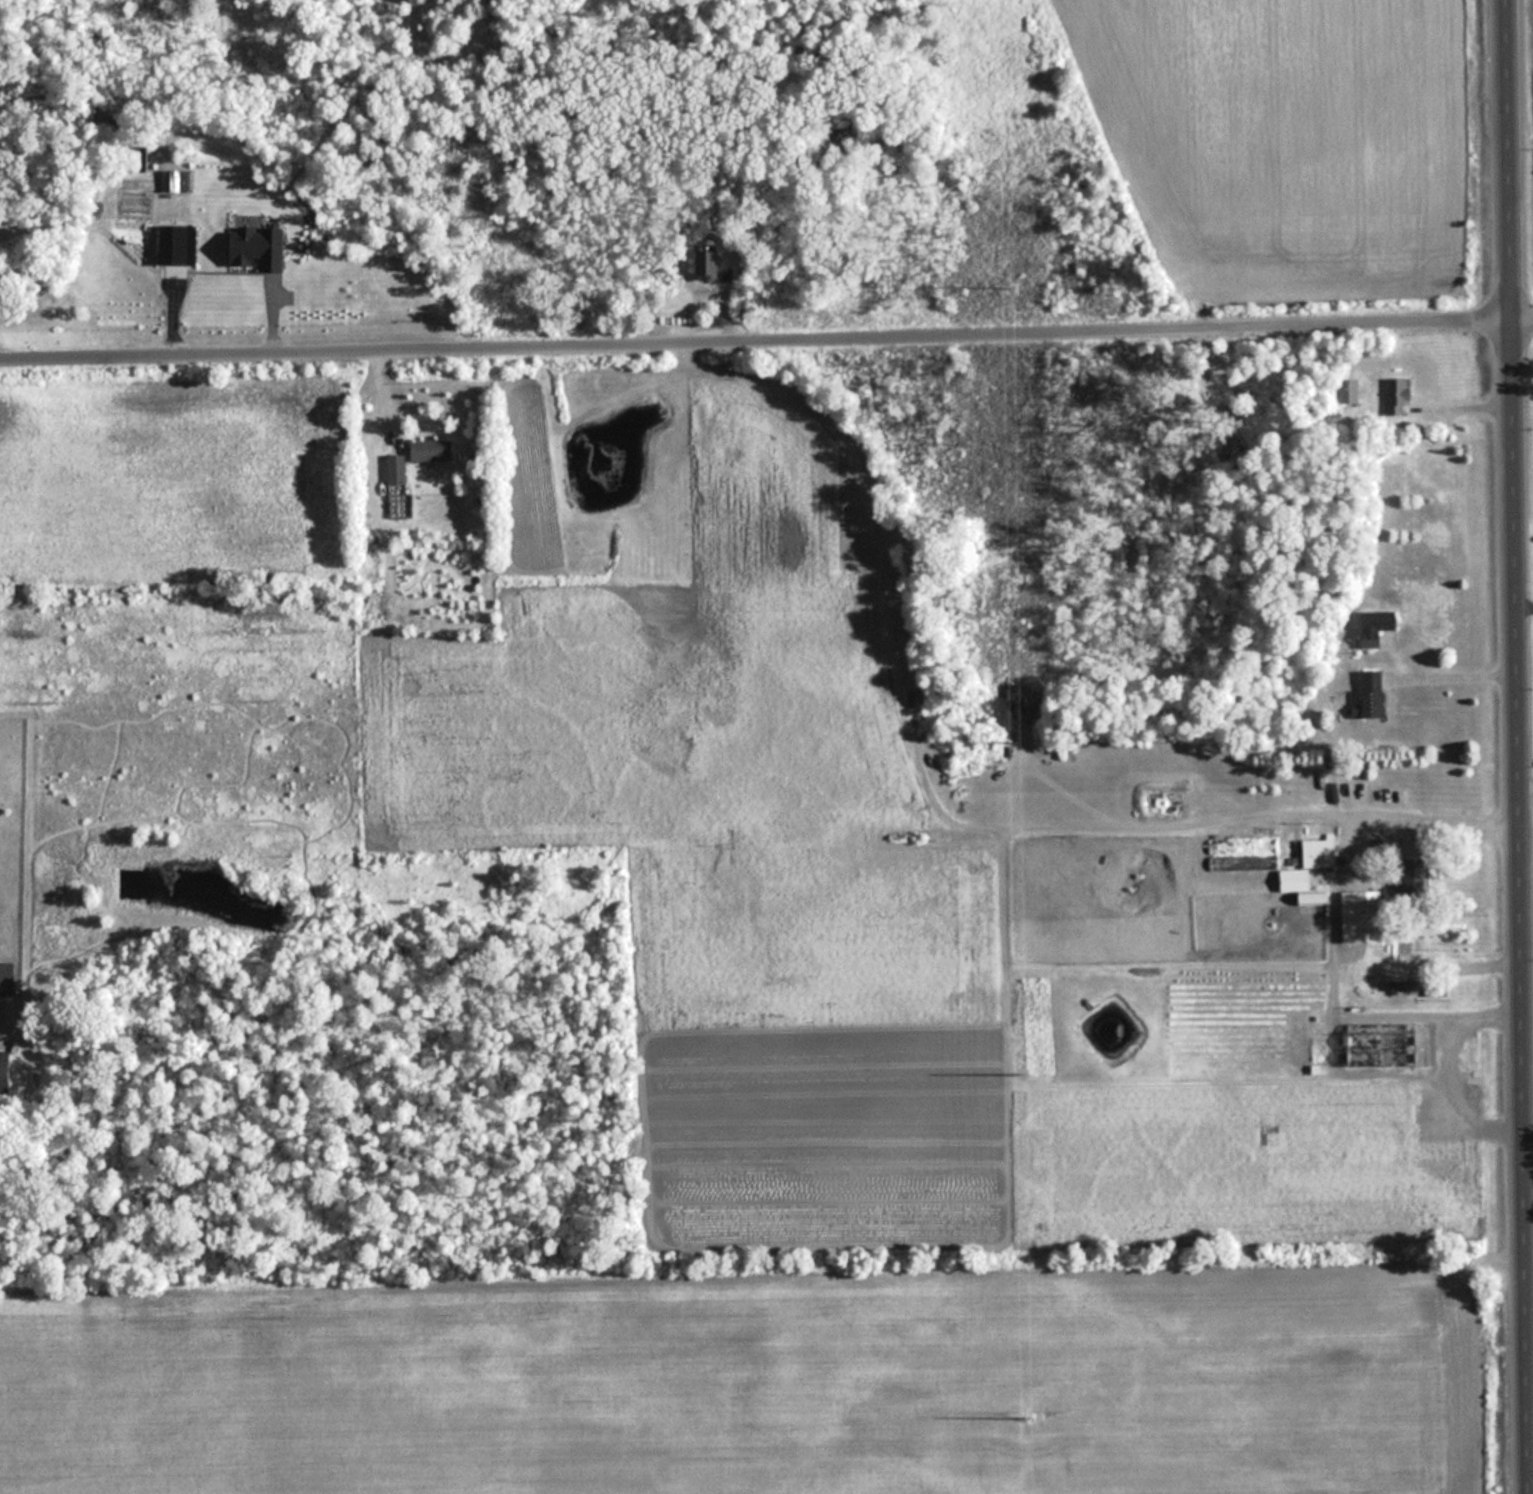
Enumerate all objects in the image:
building: (712, 262)
power tower: (1006, 286)
road: (1523, 322)
road: (756, 346)
building: (1399, 394)
building: (433, 451)
building: (397, 470)
road: (1525, 604)
building: (1376, 627)
road: (1455, 675)
building: (1375, 694)
power tower: (1013, 743)
road: (1518, 747)
road: (1526, 783)
road: (1346, 820)
building: (1319, 852)
building: (1244, 862)
building: (1295, 880)
building: (1313, 899)
building: (1363, 917)
building: (6, 979)
building: (1415, 985)
power tower: (1019, 1061)
building: (5, 1072)
road: (1530, 1296)
power tower: (1025, 1418)

